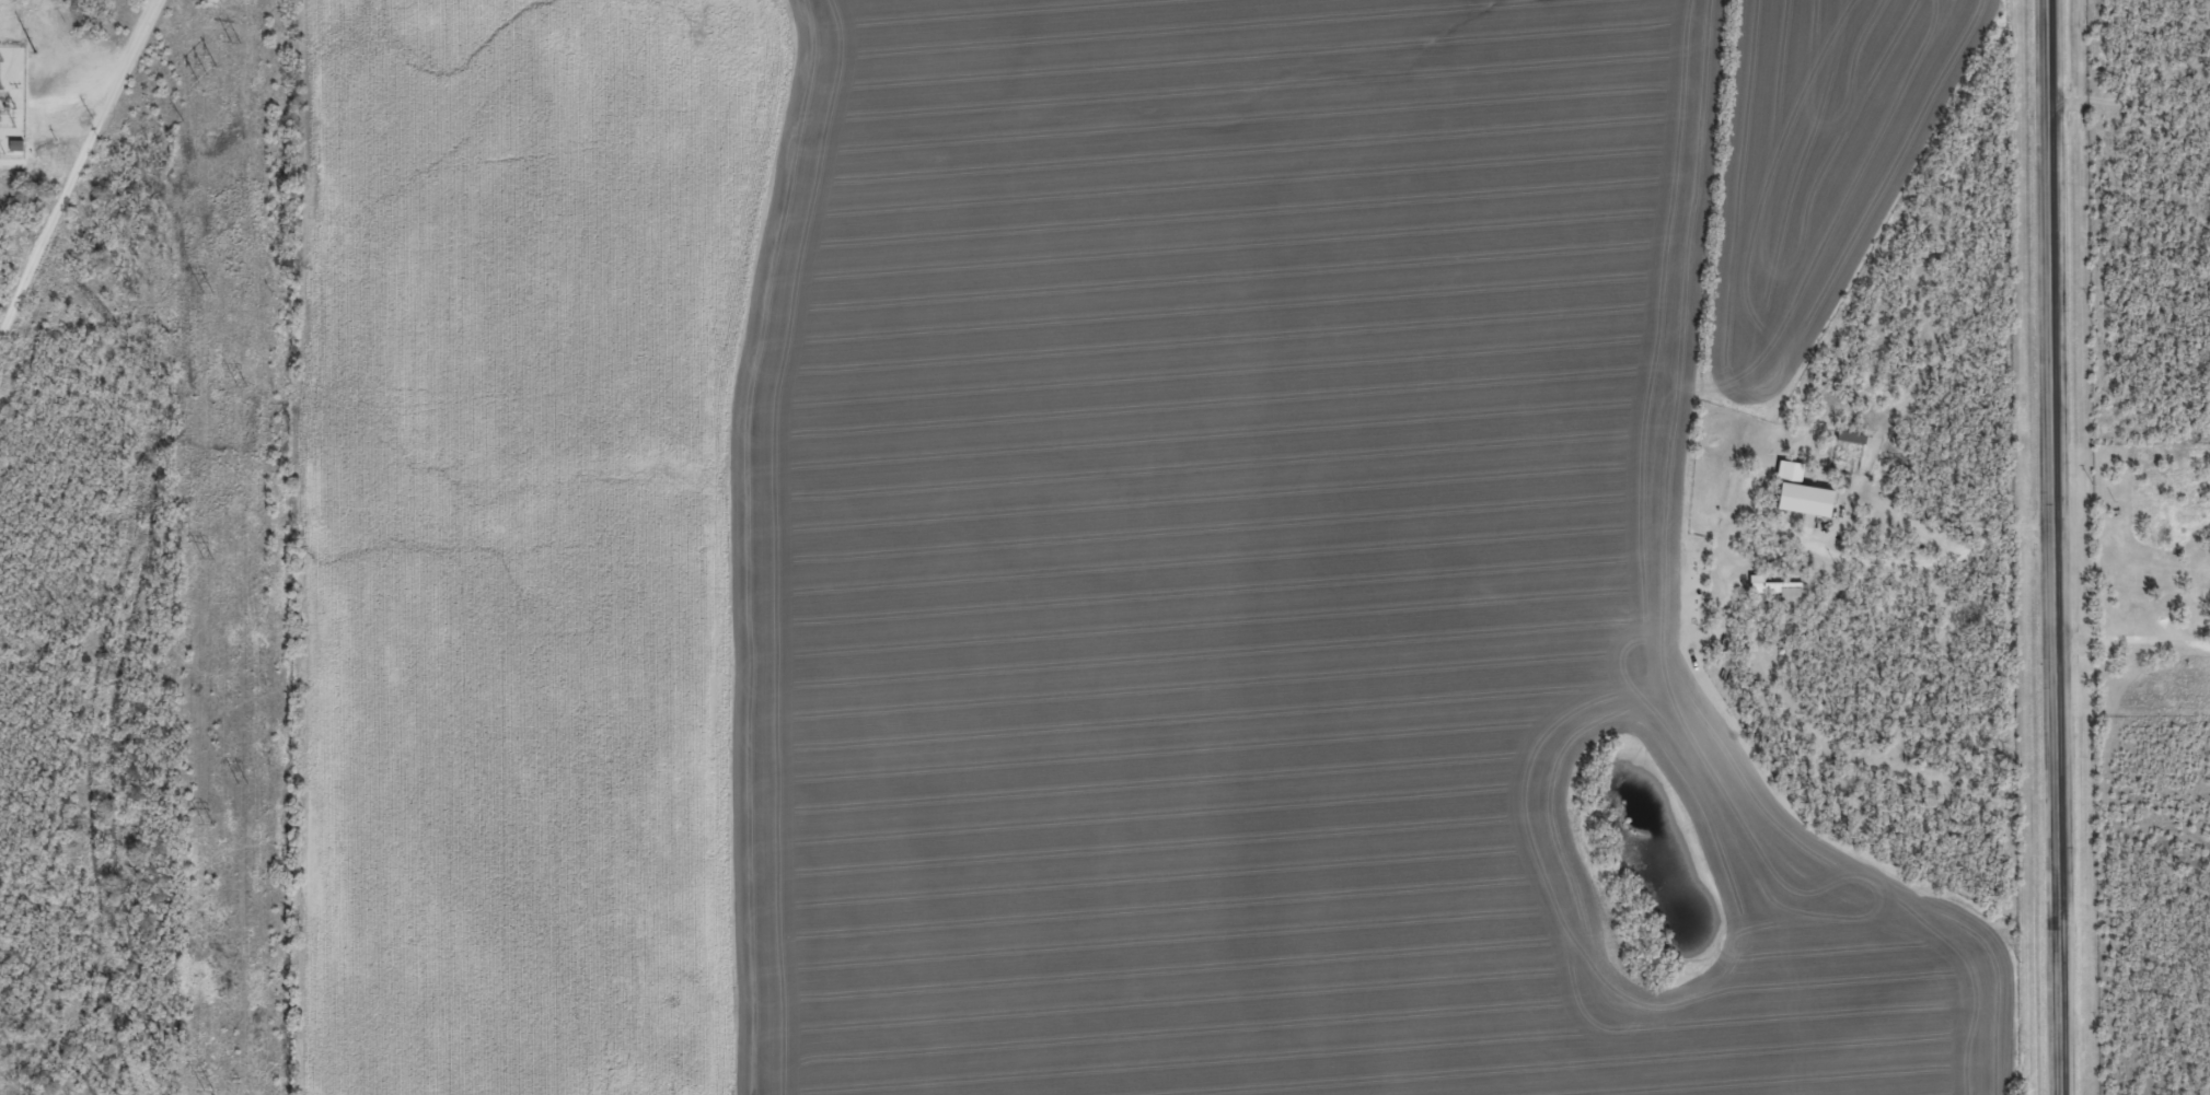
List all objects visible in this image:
power tower: (234, 43)
power tower: (33, 56)
power tower: (205, 74)
power substation: (12, 100)
power tower: (206, 294)
power tower: (240, 386)
building: (1801, 492)
road: (2055, 547)
power tower: (206, 559)
building: (1791, 603)
road: (2132, 640)
power tower: (243, 784)
power tower: (208, 825)
power tower: (206, 1091)

